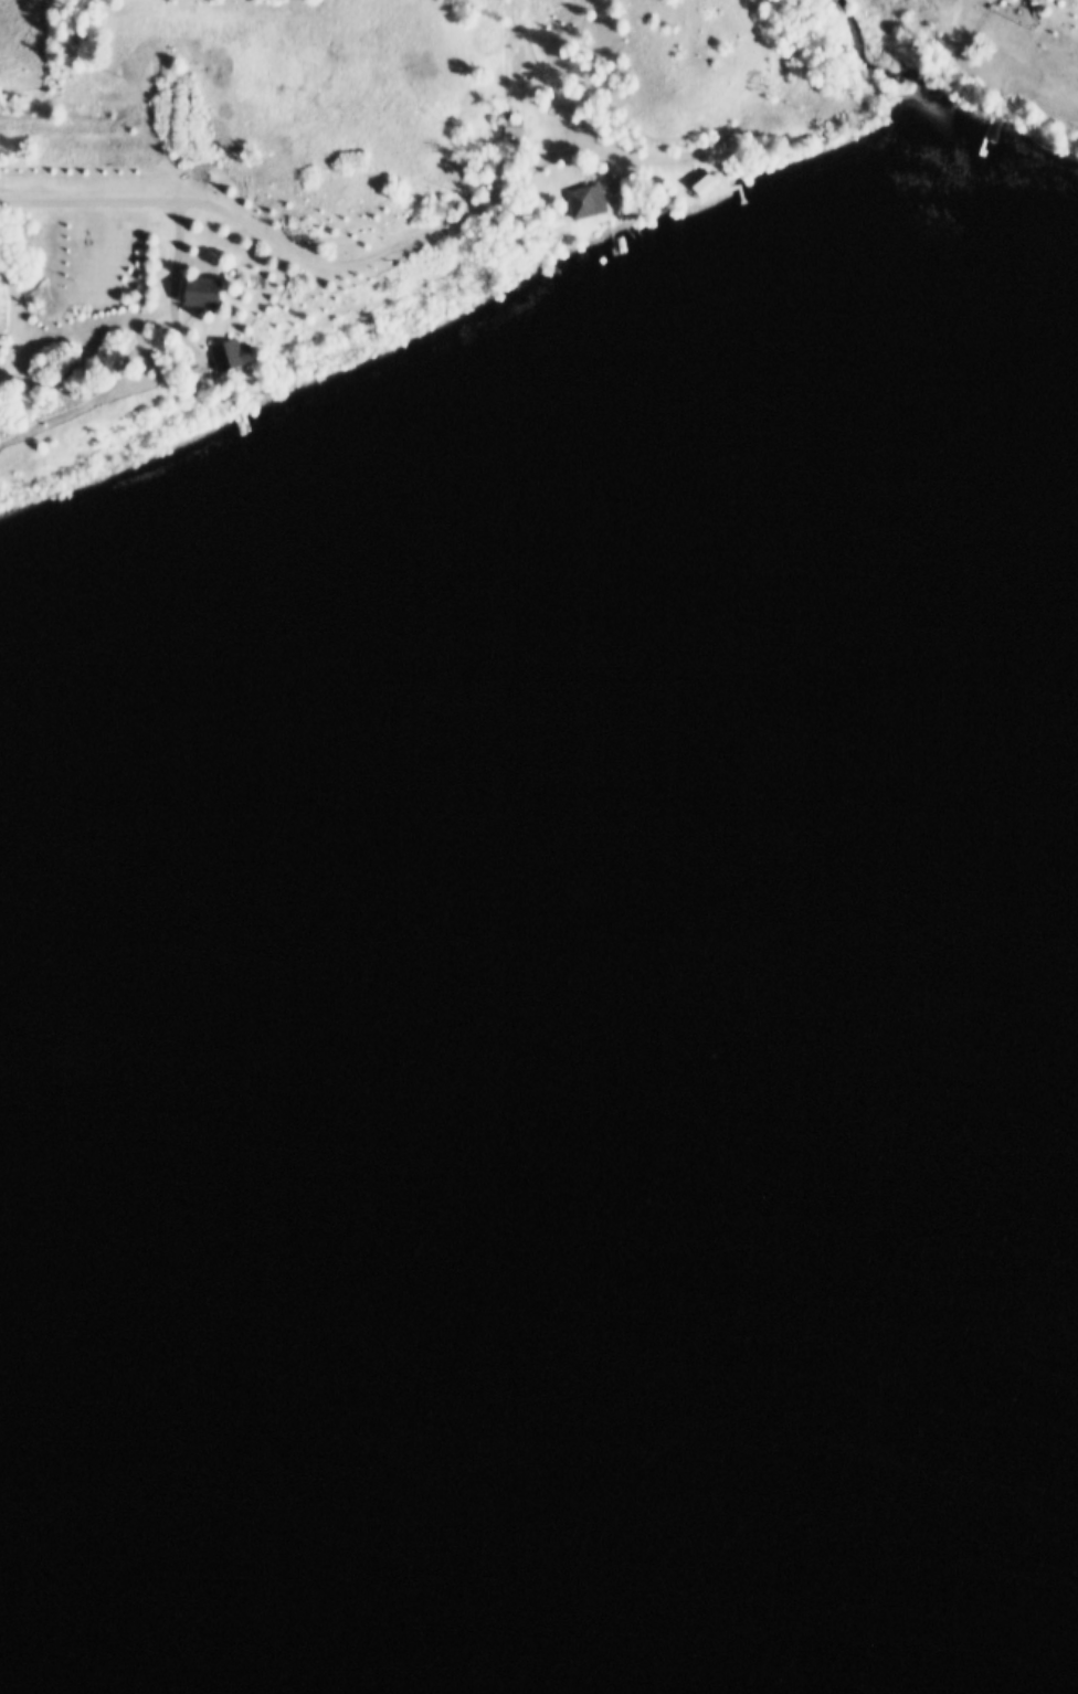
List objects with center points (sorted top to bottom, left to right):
building: (507, 124)
road: (107, 125)
building: (695, 179)
road: (86, 197)
building: (579, 198)
road: (410, 231)
road: (165, 282)
building: (189, 287)
building: (219, 352)

